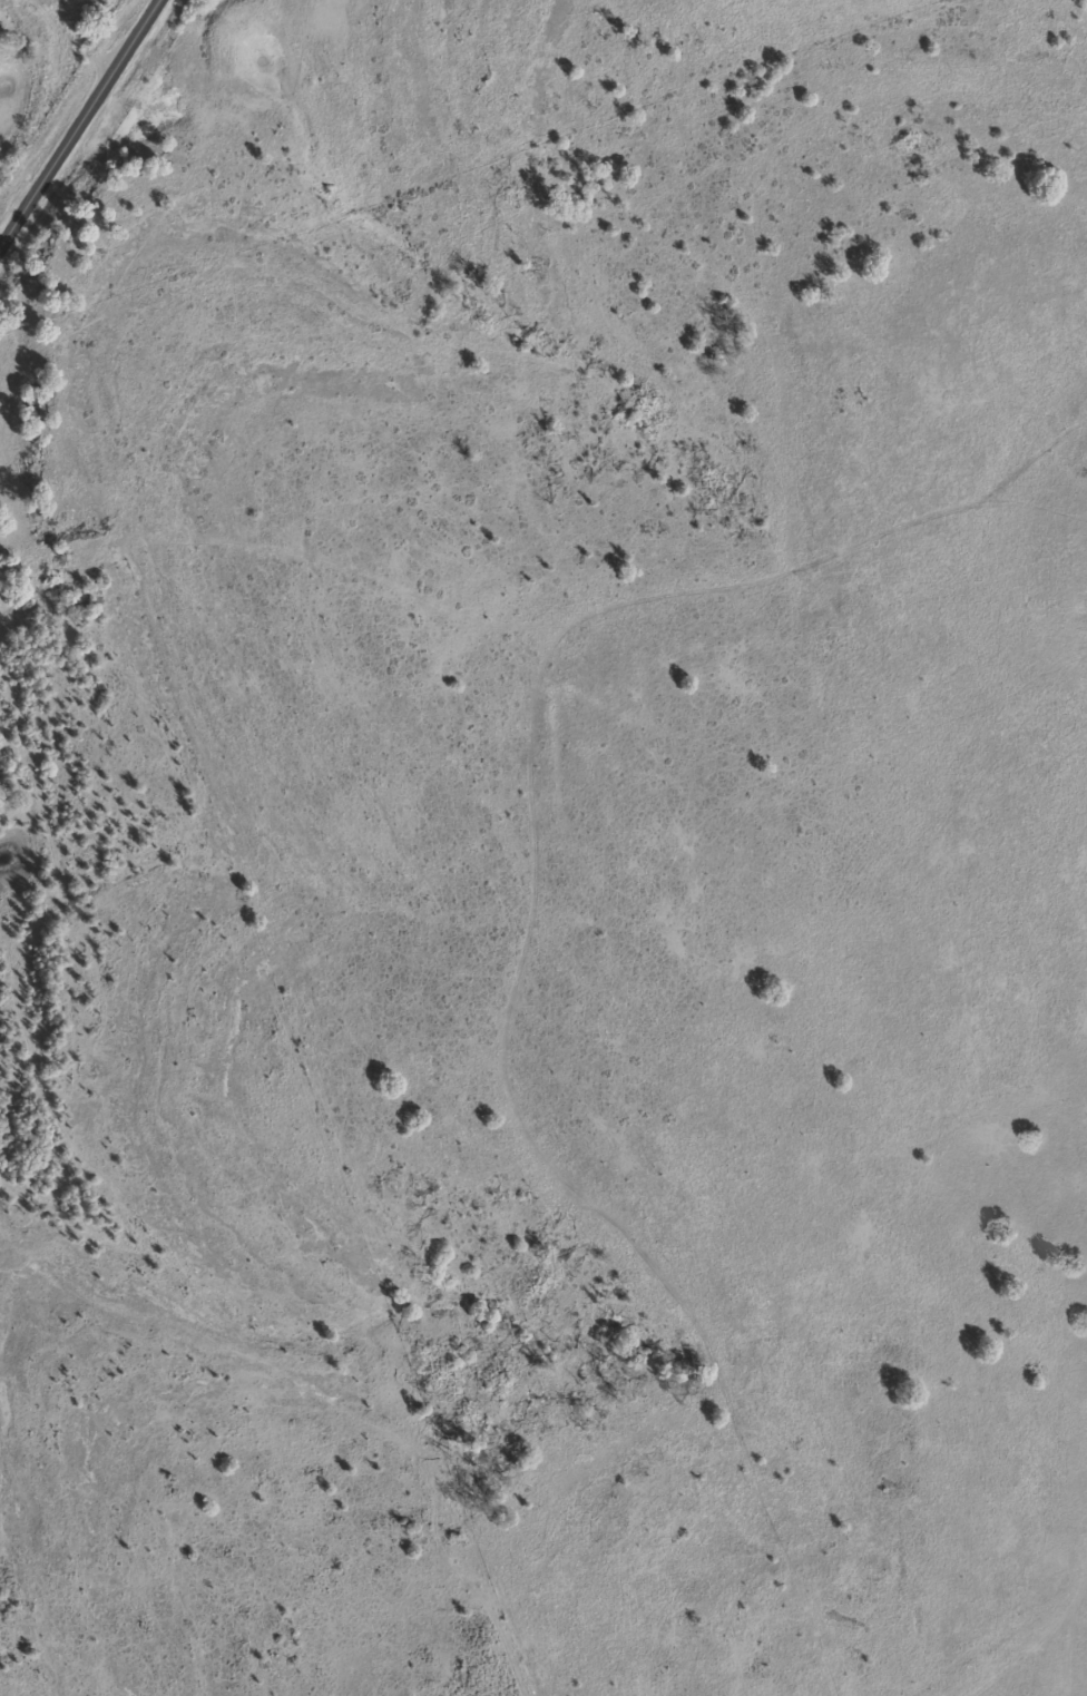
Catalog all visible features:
road: (80, 126)

